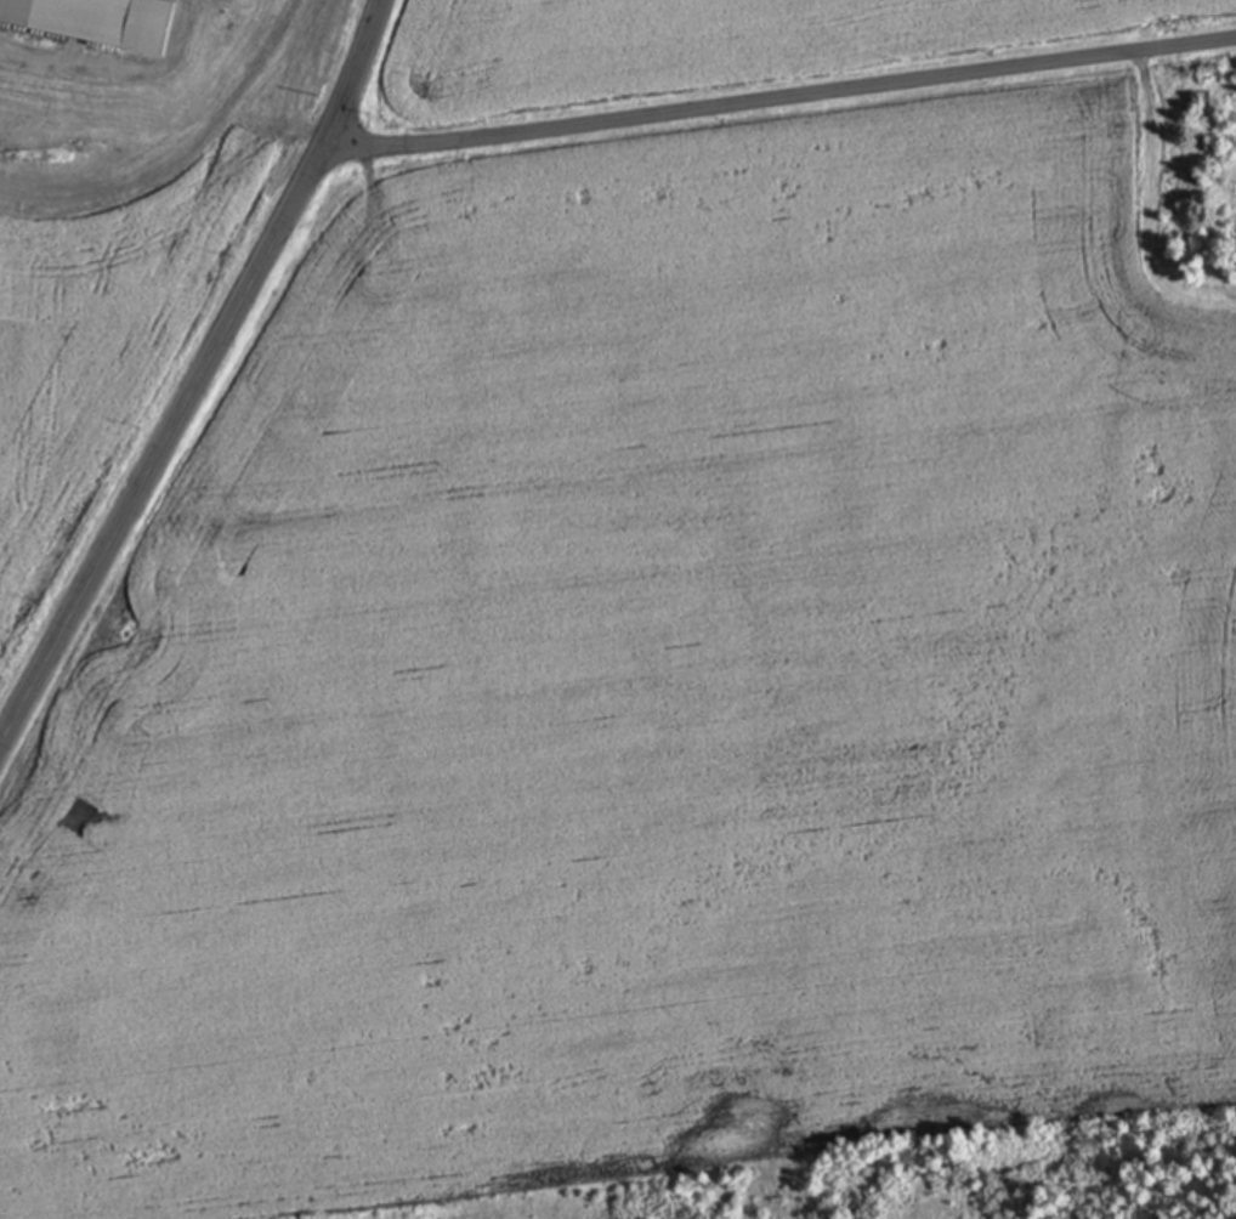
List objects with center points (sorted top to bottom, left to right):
building: (18, 67)
road: (779, 106)
road: (203, 381)

